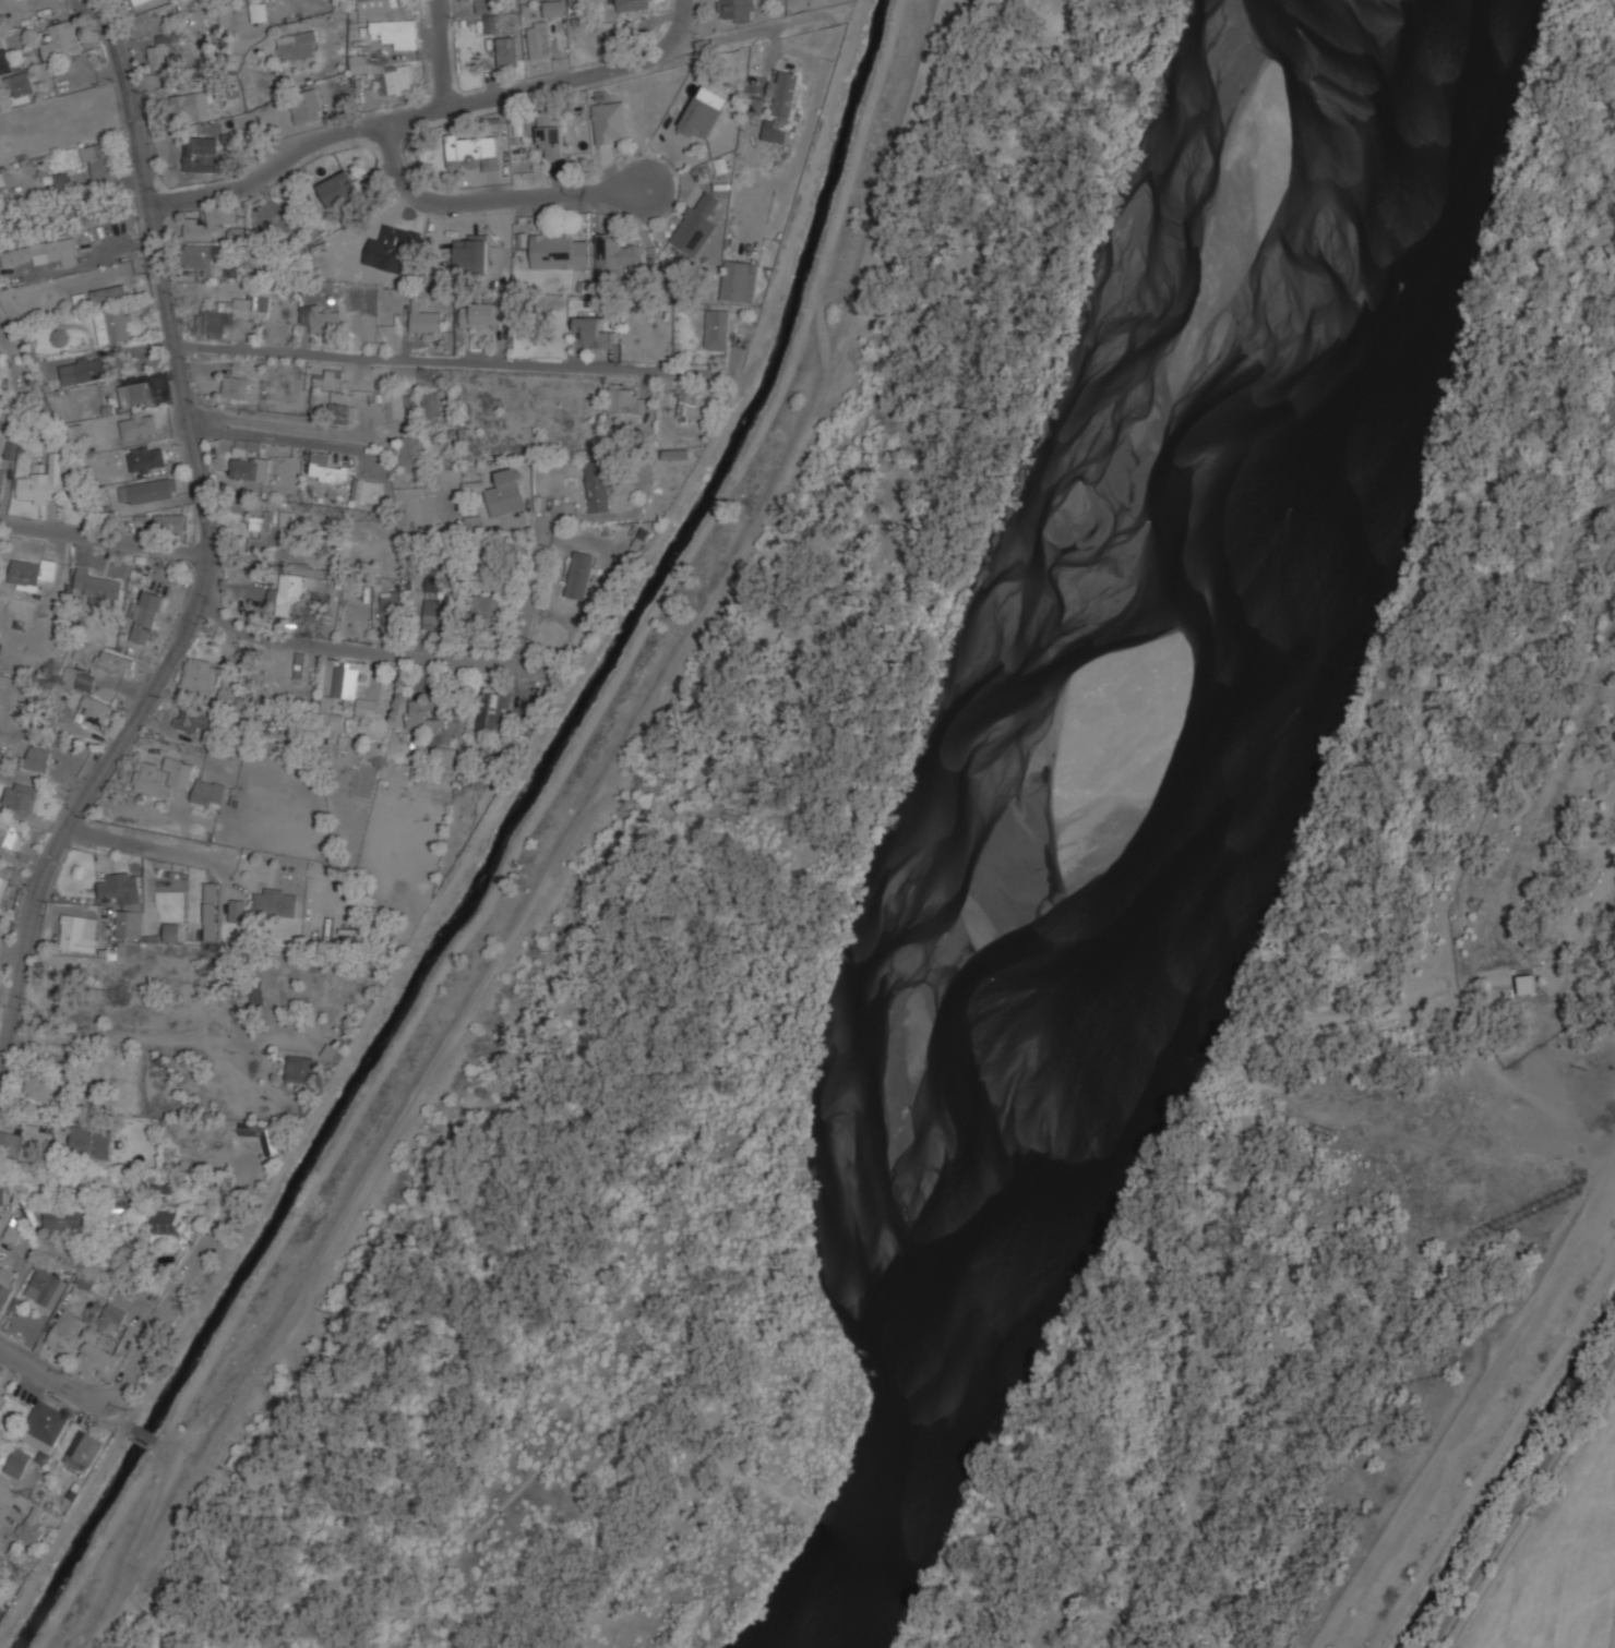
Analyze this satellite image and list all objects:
building: (139, 1)
building: (487, 4)
building: (632, 4)
building: (554, 8)
building: (737, 10)
building: (259, 12)
building: (390, 21)
building: (491, 25)
building: (539, 38)
building: (61, 39)
building: (299, 45)
building: (507, 50)
building: (160, 51)
road: (442, 53)
building: (4, 56)
building: (360, 62)
building: (396, 79)
building: (21, 86)
building: (83, 97)
building: (307, 105)
building: (193, 106)
building: (754, 106)
building: (780, 106)
road: (429, 110)
building: (704, 111)
building: (611, 121)
building: (551, 133)
building: (472, 148)
building: (194, 153)
building: (99, 156)
building: (63, 180)
building: (2, 183)
building: (339, 188)
road: (492, 200)
building: (211, 220)
building: (696, 222)
building: (238, 234)
building: (391, 249)
building: (63, 250)
building: (553, 250)
building: (471, 253)
building: (17, 254)
building: (201, 254)
building: (615, 255)
building: (740, 279)
building: (109, 291)
building: (231, 312)
building: (484, 313)
building: (321, 317)
building: (426, 317)
building: (113, 324)
building: (717, 328)
building: (594, 332)
building: (61, 336)
road: (4, 341)
road: (458, 360)
building: (83, 370)
building: (330, 378)
building: (235, 386)
building: (136, 392)
building: (124, 395)
building: (625, 400)
building: (694, 404)
building: (343, 412)
building: (432, 413)
building: (139, 425)
road: (280, 428)
building: (246, 446)
building: (10, 450)
building: (411, 452)
building: (678, 453)
building: (146, 457)
building: (250, 467)
building: (326, 467)
building: (2, 477)
building: (45, 480)
building: (598, 485)
building: (368, 489)
building: (148, 490)
building: (506, 492)
road: (299, 502)
building: (170, 522)
building: (475, 522)
building: (274, 525)
road: (104, 537)
road: (208, 544)
building: (31, 572)
building: (581, 574)
building: (98, 584)
building: (434, 584)
road: (531, 586)
building: (294, 593)
building: (393, 606)
building: (489, 611)
building: (436, 613)
building: (146, 614)
road: (346, 648)
building: (115, 661)
building: (300, 664)
building: (203, 674)
building: (80, 677)
building: (352, 688)
building: (228, 693)
road: (1428, 694)
building: (492, 708)
building: (95, 710)
building: (427, 713)
building: (330, 714)
building: (193, 719)
building: (445, 755)
building: (37, 758)
building: (164, 775)
building: (211, 792)
building: (21, 794)
building: (11, 831)
river: (1077, 833)
road: (821, 866)
building: (2, 880)
building: (124, 900)
building: (275, 901)
building: (237, 910)
building: (211, 913)
building: (171, 930)
building: (348, 931)
building: (75, 933)
building: (1528, 983)
building: (255, 993)
road: (156, 1037)
building: (330, 1051)
building: (300, 1068)
building: (39, 1083)
building: (10, 1142)
building: (94, 1143)
building: (271, 1143)
building: (2, 1194)
building: (119, 1203)
building: (28, 1210)
building: (62, 1219)
building: (166, 1224)
building: (14, 1232)
road: (1205, 1244)
road: (112, 1271)
building: (5, 1282)
building: (46, 1286)
road: (169, 1310)
road: (1519, 1315)
building: (111, 1316)
building: (67, 1332)
building: (95, 1358)
road: (56, 1380)
road: (1109, 1384)
building: (45, 1426)
building: (81, 1453)
building: (17, 1461)
road: (1523, 1496)
building: (32, 1525)
crop: (1559, 1556)
road: (1368, 1561)

